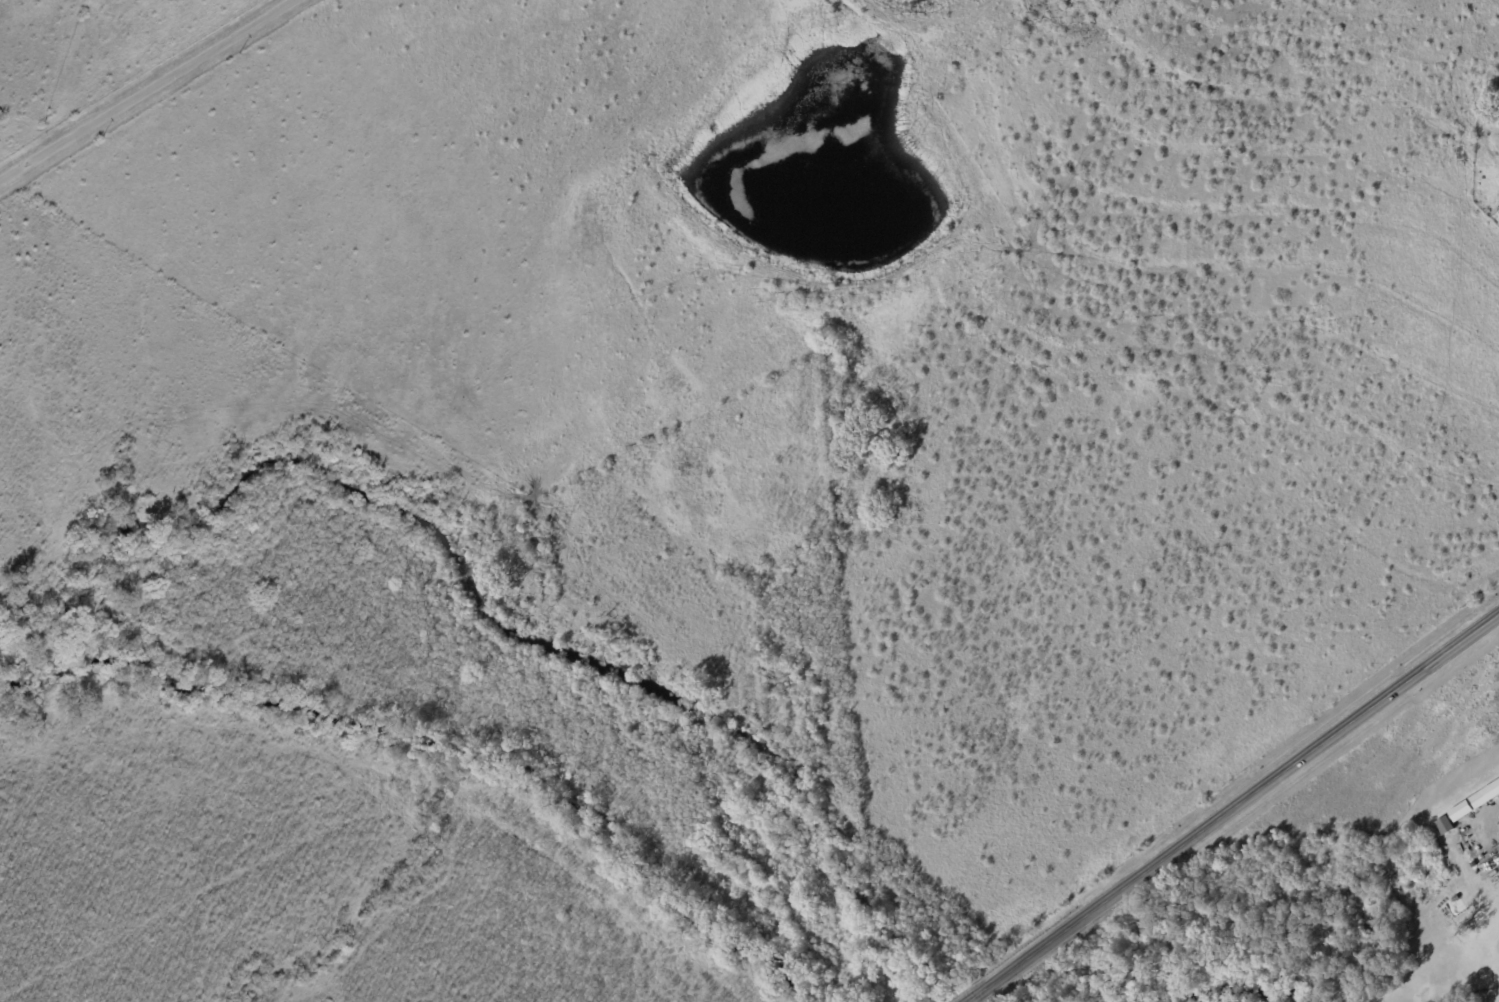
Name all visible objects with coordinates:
road: (149, 91)
building: (1476, 802)
road: (1234, 808)
building: (1447, 825)
road: (1486, 877)
park: (1350, 890)

